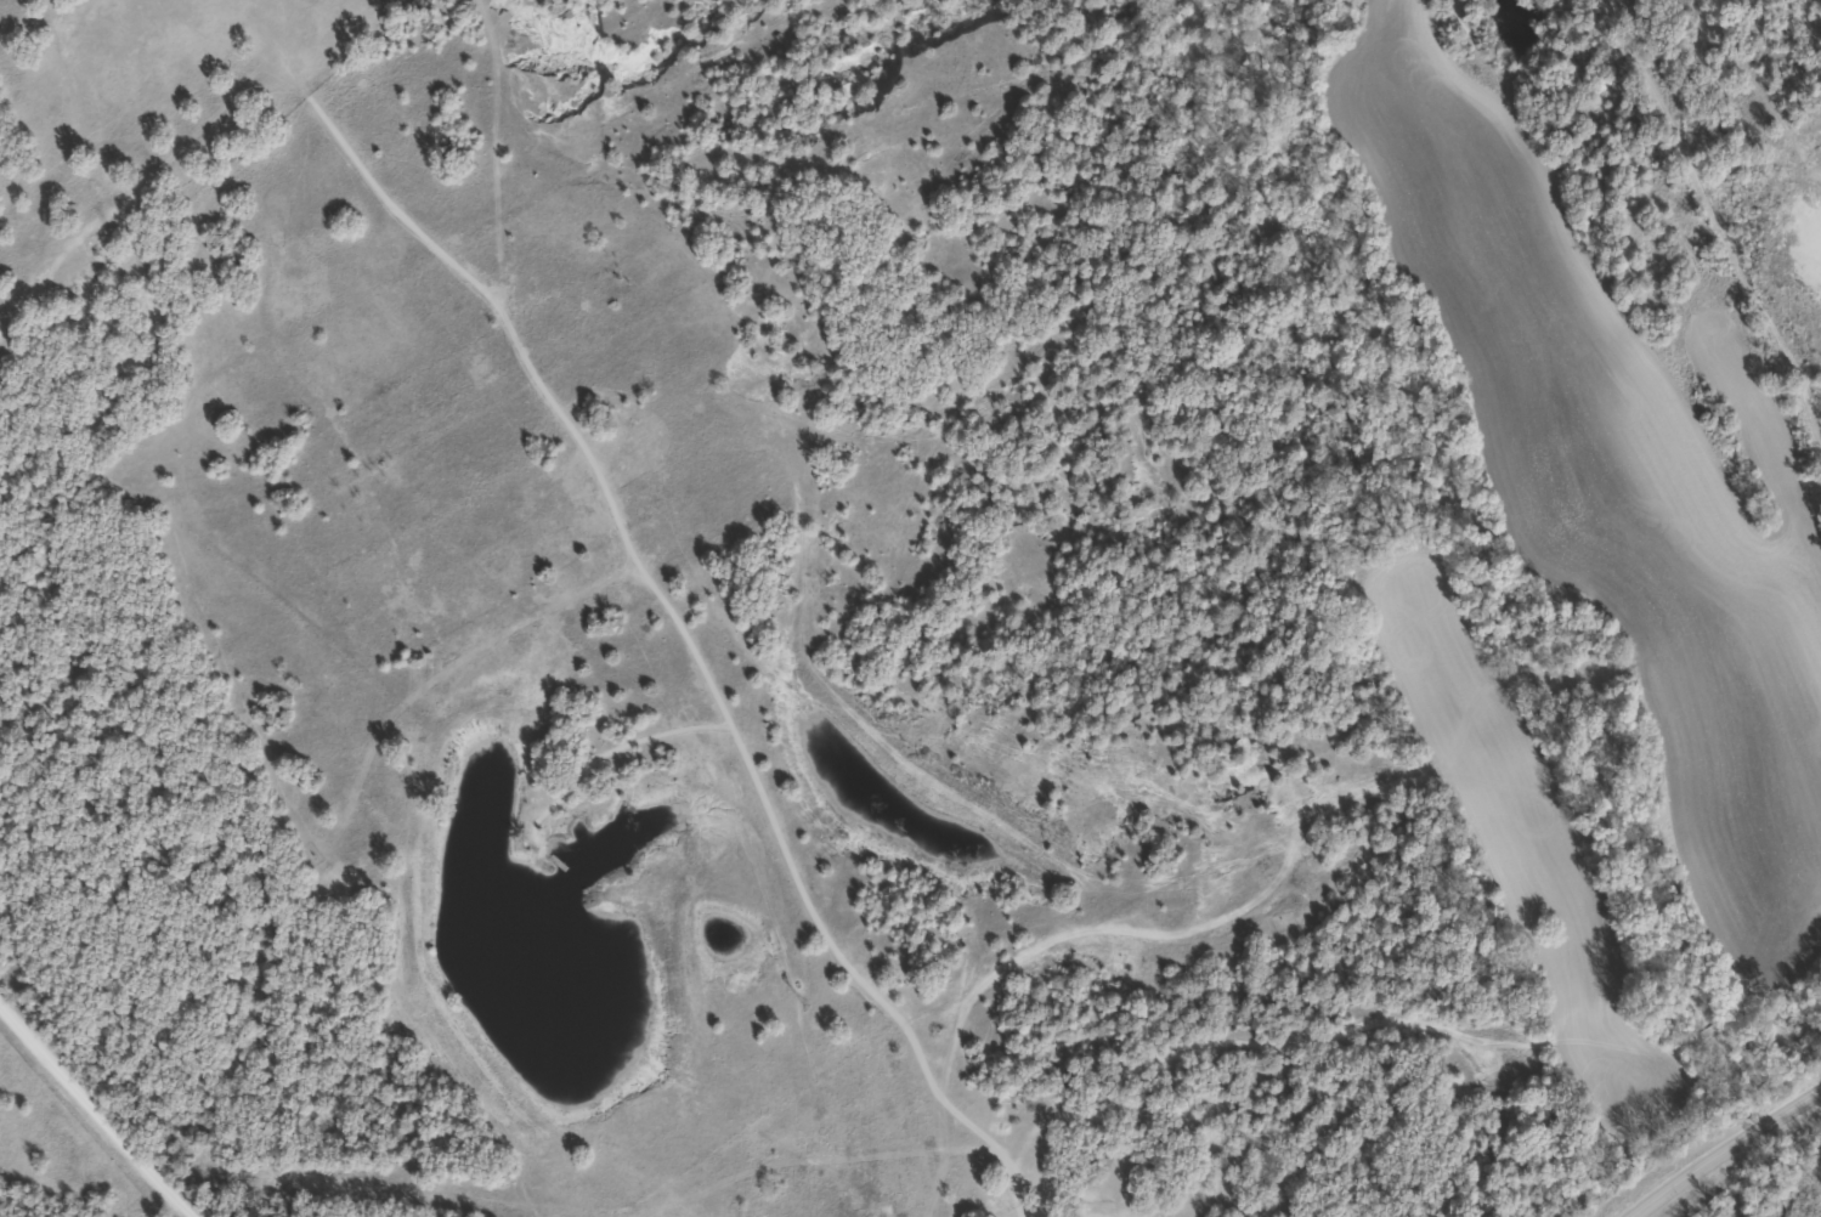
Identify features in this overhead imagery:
road: (101, 1103)
road: (1723, 1149)

